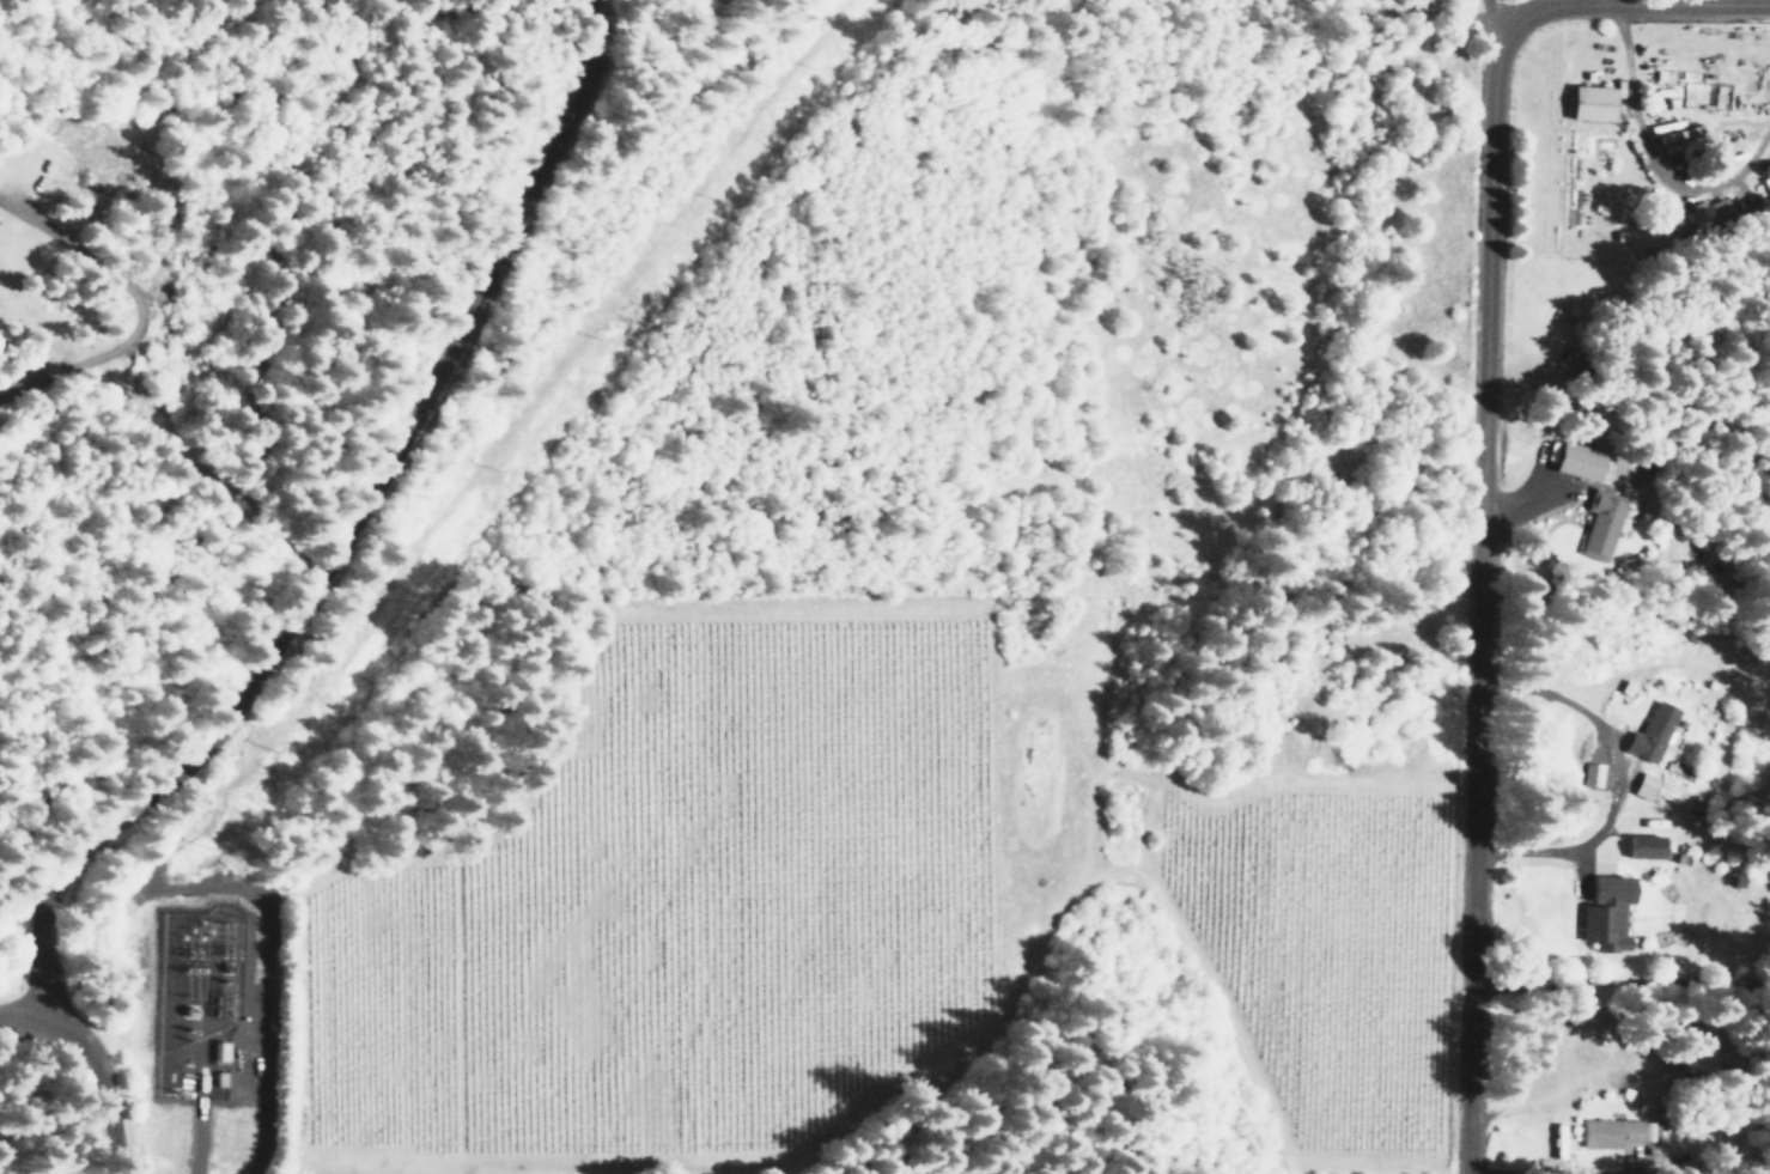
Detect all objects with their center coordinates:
building: (1589, 103)
building: (1698, 215)
building: (1577, 461)
road: (349, 518)
building: (1600, 524)
road: (1441, 558)
building: (1650, 732)
road: (1635, 755)
building: (1589, 774)
building: (1642, 785)
building: (1642, 846)
building: (1605, 913)
road: (80, 1060)
building: (1608, 1133)

